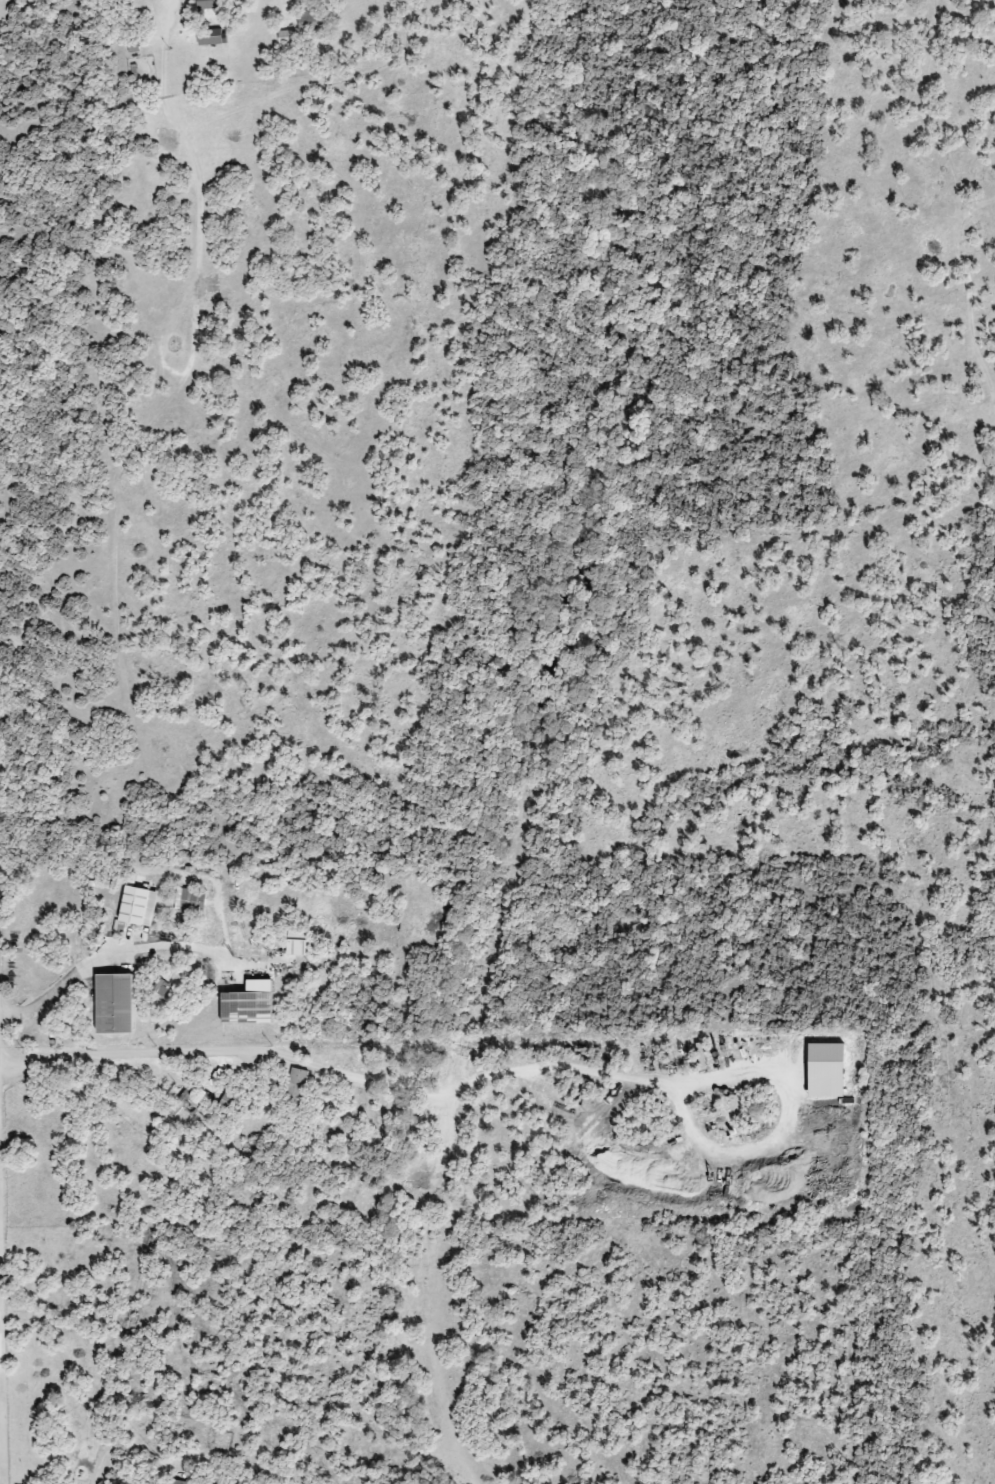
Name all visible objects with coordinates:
building: (209, 4)
road: (170, 18)
building: (310, 21)
building: (211, 37)
building: (286, 37)
building: (178, 900)
building: (193, 901)
building: (137, 908)
building: (299, 948)
road: (140, 949)
building: (160, 987)
building: (115, 1004)
building: (249, 1004)
road: (342, 1073)
building: (297, 1085)
building: (185, 1105)
road: (784, 1128)
road: (2, 1412)
building: (179, 1482)

